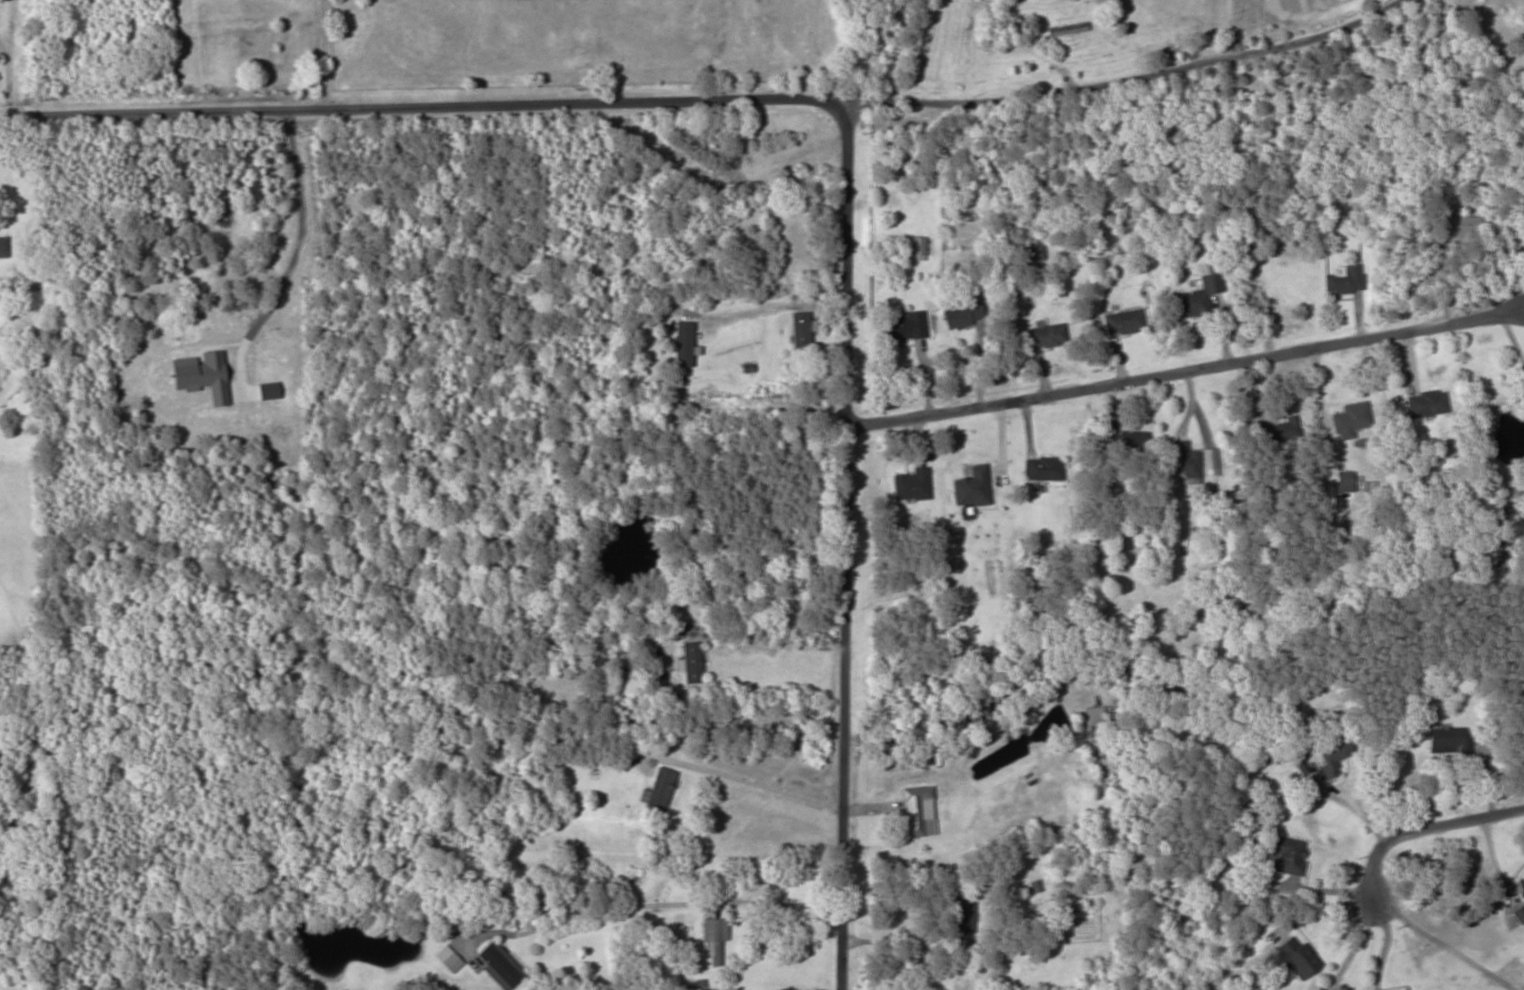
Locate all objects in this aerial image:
building: (1066, 29)
road: (1125, 74)
road: (424, 95)
building: (1459, 224)
building: (3, 246)
building: (1032, 250)
building: (699, 264)
building: (1344, 279)
building: (1197, 295)
building: (961, 314)
building: (1122, 320)
building: (901, 326)
building: (804, 331)
building: (1046, 334)
building: (679, 349)
road: (1183, 367)
building: (1426, 403)
building: (1349, 419)
building: (1278, 430)
building: (1129, 440)
building: (1184, 459)
building: (1043, 467)
building: (911, 483)
road: (845, 541)
road: (772, 637)
building: (690, 661)
building: (1093, 723)
building: (1448, 740)
building: (1332, 753)
road: (763, 780)
building: (658, 791)
building: (916, 809)
road: (1427, 831)
building: (1285, 853)
building: (1520, 887)
road: (681, 896)
building: (962, 910)
building: (1519, 914)
building: (713, 938)
building: (1294, 957)
building: (447, 958)
building: (499, 965)

